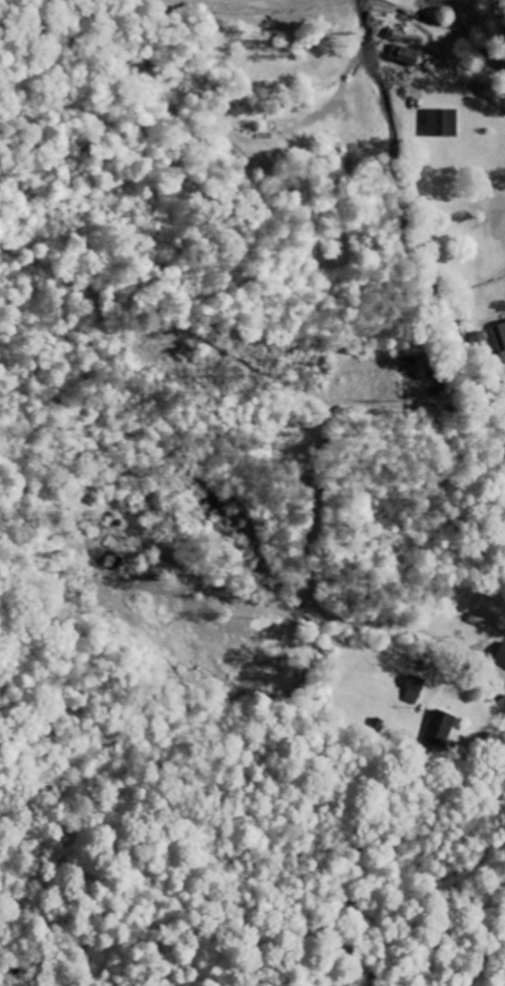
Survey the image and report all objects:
building: (433, 0)
road: (504, 3)
building: (397, 36)
building: (406, 56)
building: (444, 124)
building: (500, 341)
building: (502, 656)
road: (490, 668)
building: (415, 691)
building: (443, 721)

